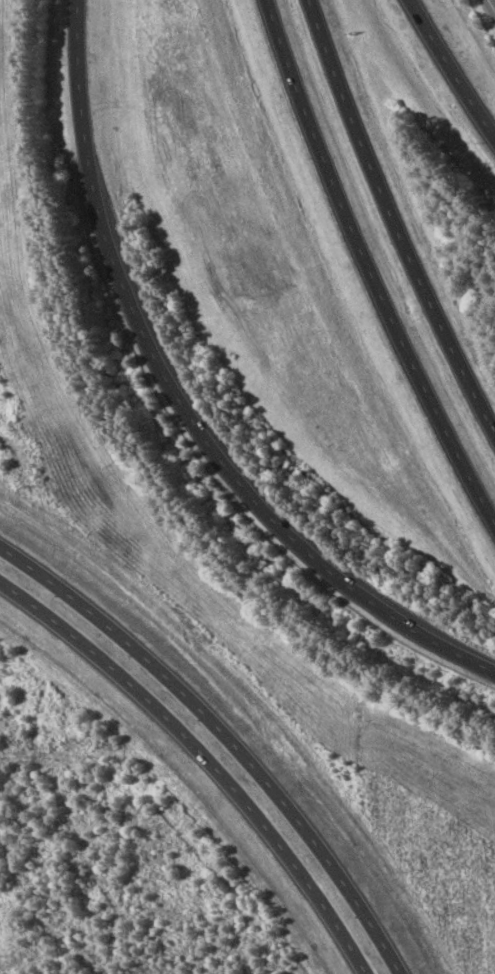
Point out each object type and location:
road: (492, 5)
road: (450, 72)
road: (394, 216)
road: (370, 270)
road: (181, 403)
road: (230, 725)
road: (207, 753)

